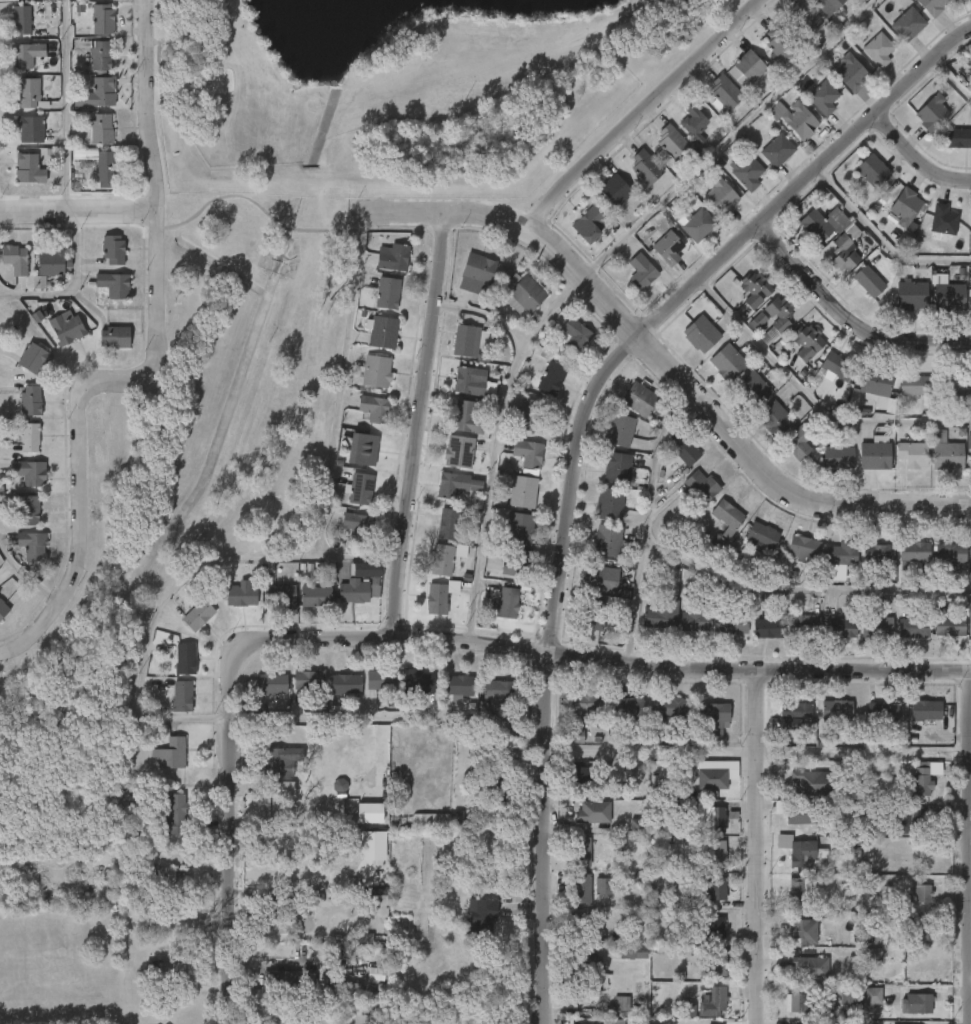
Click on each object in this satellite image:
building: (829, 4)
building: (933, 6)
building: (805, 16)
building: (102, 18)
building: (20, 19)
building: (907, 24)
building: (779, 42)
building: (878, 49)
building: (25, 54)
building: (100, 55)
building: (750, 65)
building: (850, 72)
road: (950, 82)
building: (100, 91)
building: (725, 91)
building: (29, 94)
building: (823, 98)
road: (64, 105)
road: (642, 112)
building: (929, 113)
building: (794, 118)
building: (694, 122)
building: (29, 128)
building: (102, 130)
road: (727, 137)
building: (955, 138)
building: (671, 144)
building: (777, 149)
building: (84, 154)
road: (919, 155)
building: (104, 166)
building: (645, 166)
building: (27, 168)
building: (869, 170)
building: (746, 172)
building: (615, 190)
building: (720, 196)
road: (258, 206)
building: (902, 207)
road: (80, 212)
building: (942, 220)
building: (589, 223)
building: (970, 224)
building: (696, 225)
building: (816, 226)
road: (882, 242)
building: (667, 247)
building: (113, 249)
building: (843, 254)
building: (392, 257)
building: (16, 259)
park: (314, 259)
building: (52, 264)
building: (477, 268)
building: (641, 272)
building: (869, 281)
building: (115, 285)
building: (755, 289)
building: (387, 293)
building: (909, 294)
building: (524, 295)
building: (946, 295)
building: (969, 299)
road: (551, 307)
road: (849, 315)
building: (757, 323)
building: (67, 328)
building: (381, 331)
building: (700, 334)
building: (573, 335)
building: (115, 338)
building: (466, 340)
building: (805, 340)
building: (32, 358)
road: (665, 358)
building: (728, 362)
road: (155, 369)
building: (832, 369)
building: (376, 371)
building: (551, 378)
building: (468, 381)
building: (954, 384)
building: (916, 385)
building: (876, 387)
building: (754, 389)
building: (639, 400)
building: (30, 401)
road: (813, 401)
building: (374, 409)
building: (531, 416)
building: (467, 417)
building: (775, 419)
road: (418, 426)
building: (619, 430)
building: (28, 437)
road: (494, 441)
building: (798, 442)
building: (366, 449)
road: (583, 449)
building: (968, 449)
building: (684, 451)
building: (459, 452)
building: (944, 452)
building: (528, 453)
building: (910, 454)
building: (872, 455)
building: (838, 458)
building: (620, 468)
building: (28, 472)
building: (450, 485)
building: (700, 487)
building: (360, 489)
building: (522, 492)
building: (611, 503)
building: (27, 510)
building: (729, 518)
building: (447, 524)
building: (358, 526)
building: (520, 529)
building: (762, 537)
building: (609, 540)
building: (32, 546)
building: (804, 551)
building: (947, 552)
building: (839, 553)
building: (910, 553)
building: (970, 554)
road: (291, 555)
building: (875, 559)
building: (441, 560)
building: (517, 564)
building: (364, 570)
road: (721, 577)
building: (603, 579)
building: (353, 592)
building: (240, 596)
building: (279, 596)
building: (315, 596)
road: (634, 598)
building: (436, 599)
building: (506, 601)
building: (2, 611)
building: (595, 614)
building: (660, 614)
building: (197, 615)
building: (695, 622)
building: (732, 624)
building: (804, 624)
building: (950, 626)
building: (768, 627)
building: (840, 628)
building: (876, 628)
building: (914, 628)
road: (420, 640)
building: (184, 660)
building: (310, 680)
building: (381, 680)
building: (418, 682)
building: (273, 683)
building: (344, 684)
building: (457, 686)
building: (497, 692)
building: (181, 697)
building: (584, 702)
building: (628, 708)
building: (672, 708)
road: (762, 710)
building: (837, 710)
building: (926, 711)
building: (882, 712)
building: (713, 713)
building: (794, 716)
building: (576, 736)
building: (170, 753)
building: (277, 762)
building: (924, 776)
building: (586, 779)
building: (715, 779)
building: (492, 780)
building: (807, 784)
building: (339, 785)
building: (280, 789)
building: (593, 812)
building: (175, 813)
building: (369, 813)
building: (799, 813)
building: (712, 818)
building: (436, 820)
building: (910, 820)
building: (637, 825)
building: (372, 846)
building: (800, 850)
building: (581, 851)
building: (714, 853)
building: (173, 883)
building: (714, 886)
road: (764, 886)
building: (603, 887)
building: (582, 888)
road: (312, 889)
building: (921, 889)
building: (370, 891)
building: (799, 893)
building: (280, 906)
building: (482, 918)
building: (580, 924)
building: (711, 927)
building: (401, 929)
building: (804, 930)
building: (918, 932)
building: (635, 952)
building: (589, 965)
building: (712, 966)
building: (811, 967)
building: (169, 969)
building: (375, 975)
building: (282, 982)
building: (351, 992)
building: (848, 994)
building: (872, 996)
building: (712, 1001)
building: (801, 1002)
building: (919, 1003)
building: (621, 1004)
building: (920, 1022)

